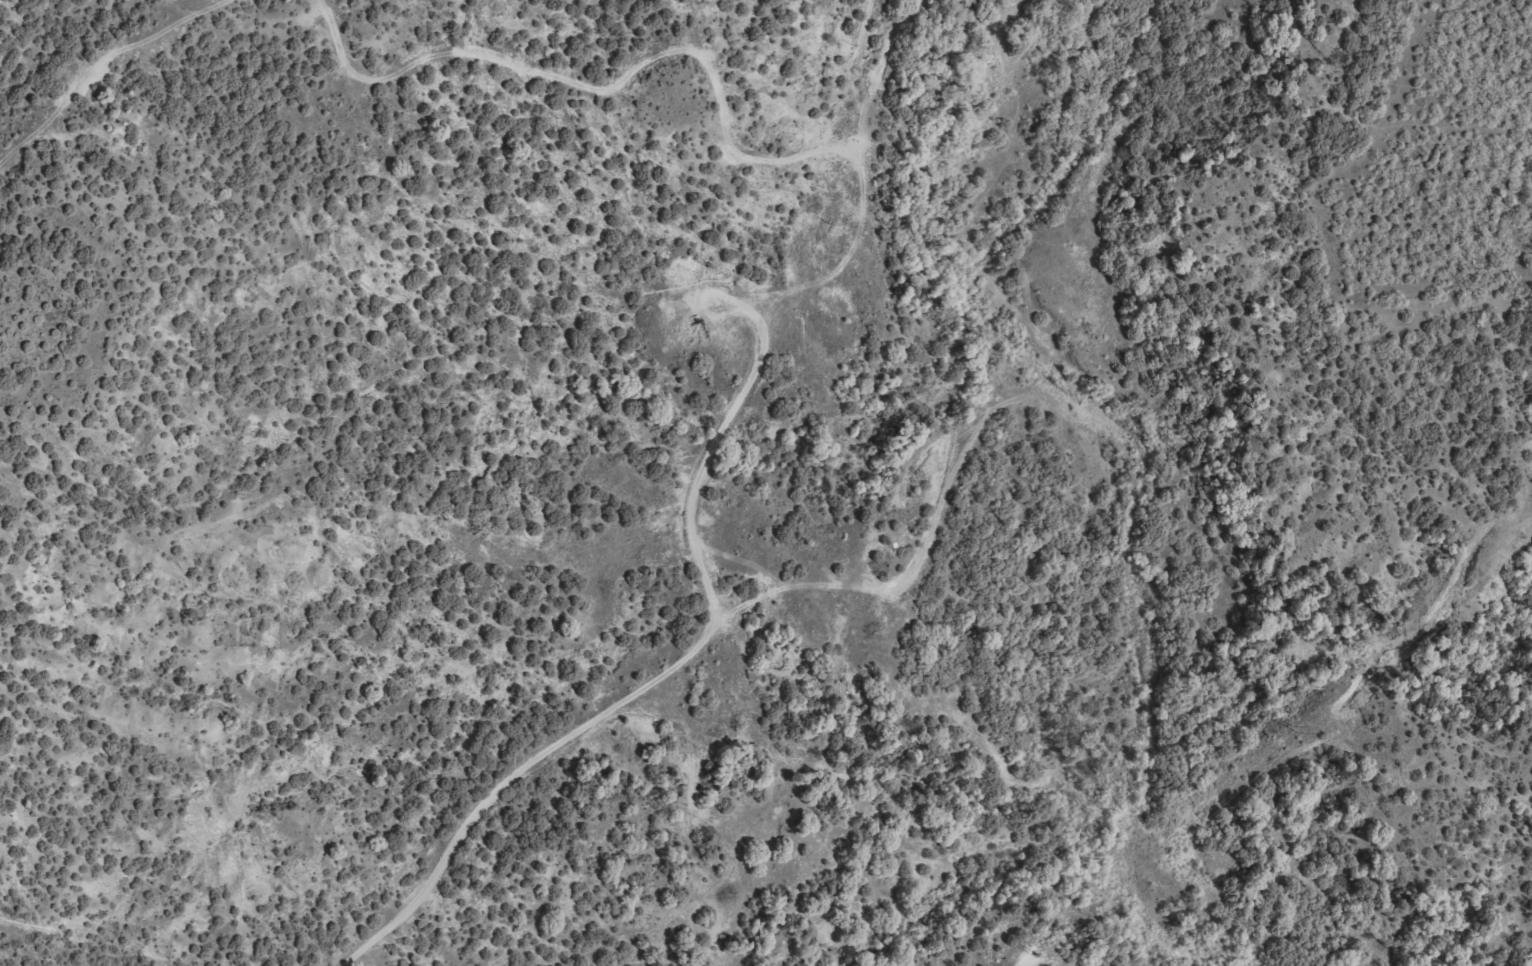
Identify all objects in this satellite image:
power tower: (1296, 730)
power tower: (1035, 954)

